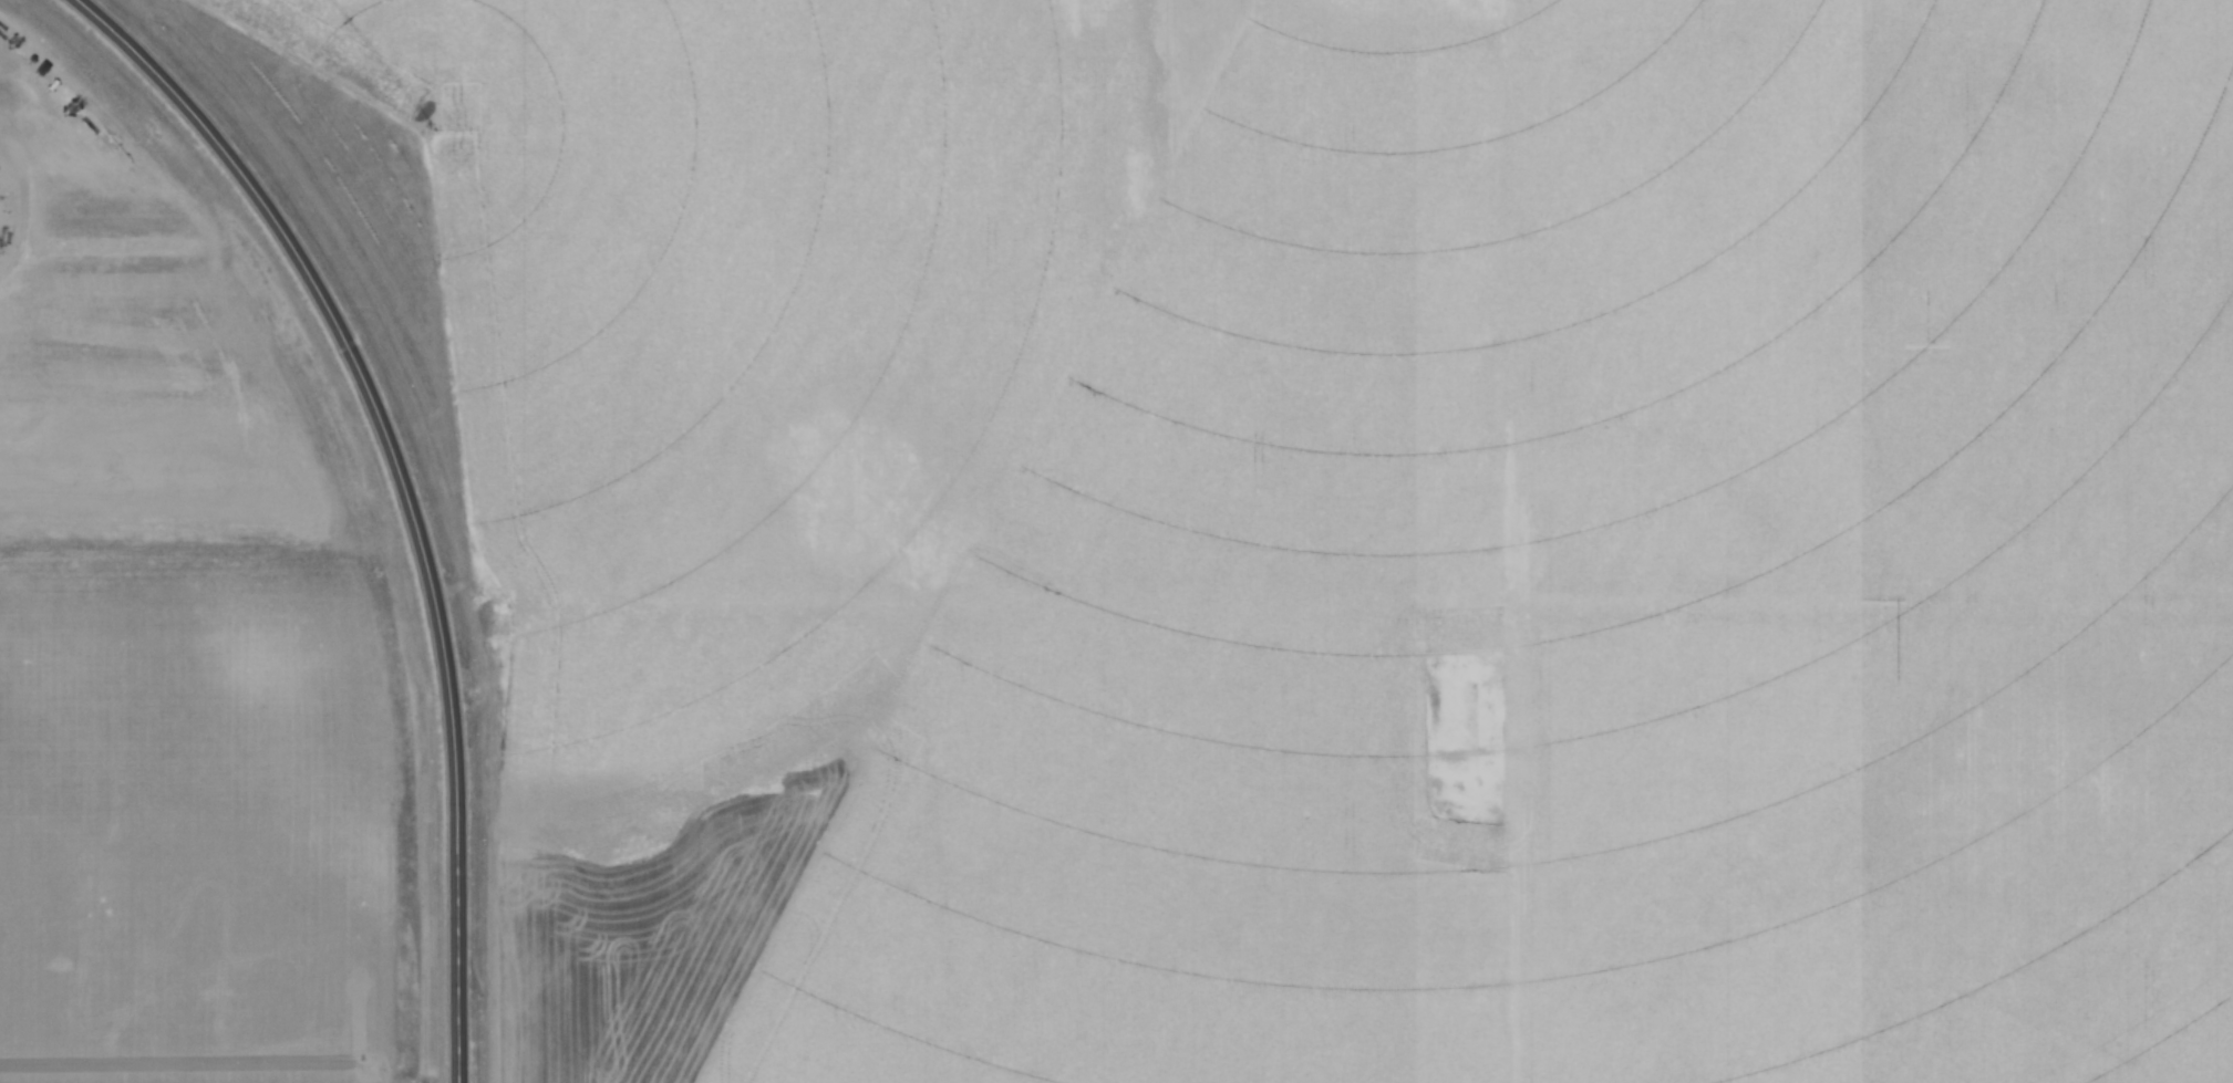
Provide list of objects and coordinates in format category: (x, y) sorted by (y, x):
road: (409, 490)

